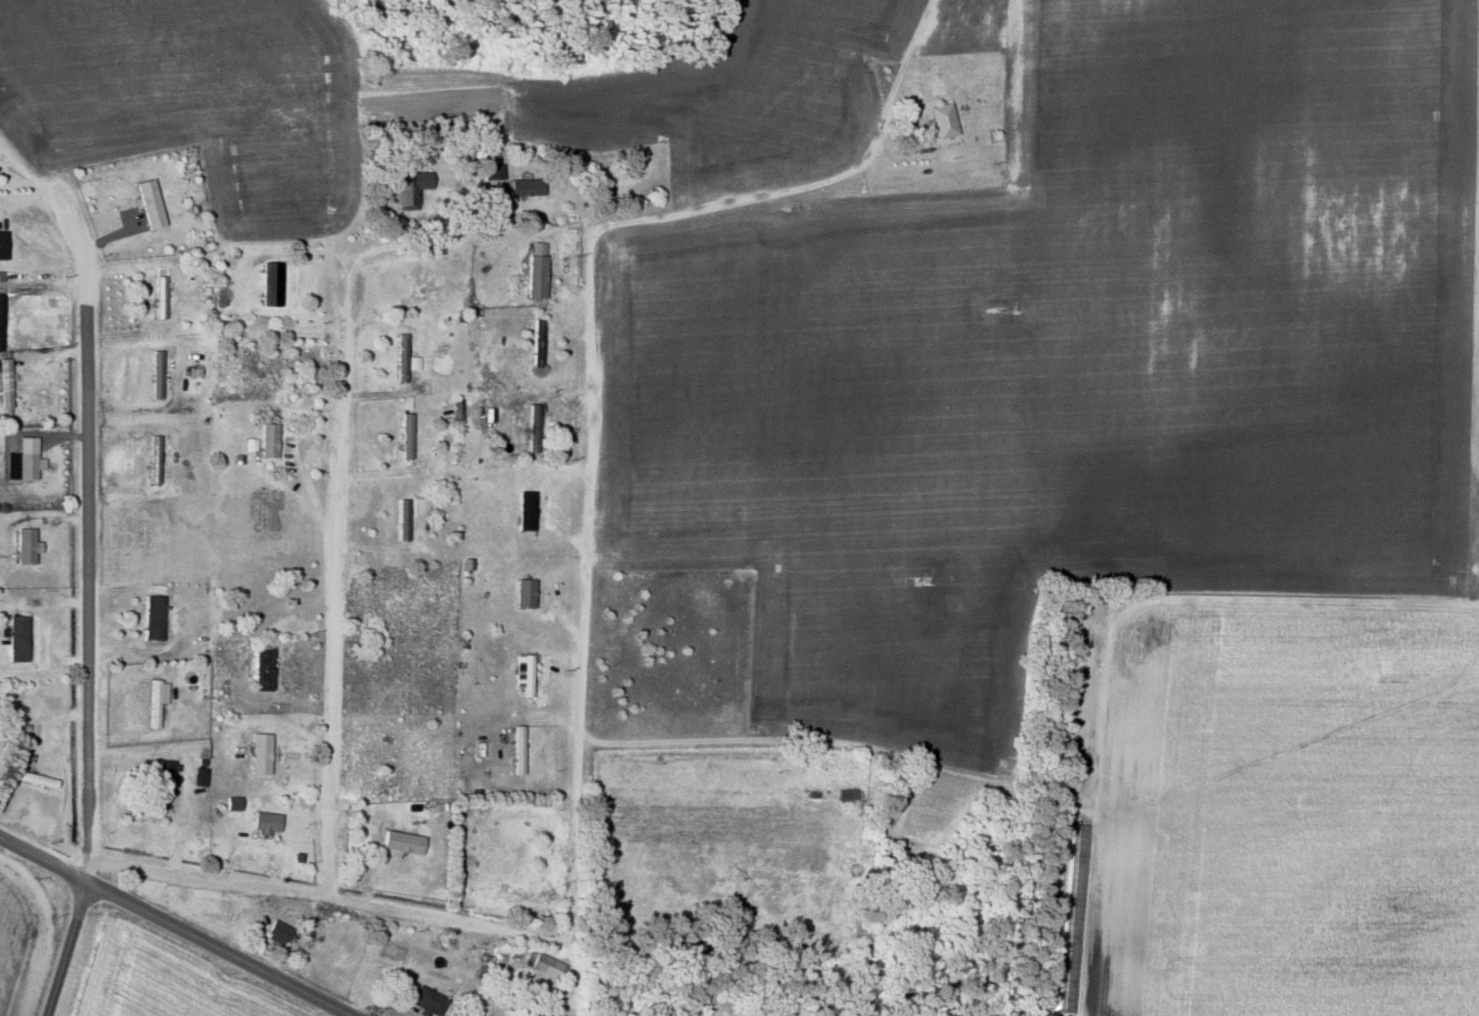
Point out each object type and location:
road: (898, 88)
building: (942, 119)
building: (492, 170)
building: (525, 186)
building: (410, 187)
building: (148, 202)
building: (2, 244)
building: (537, 247)
building: (535, 275)
building: (270, 283)
building: (158, 296)
building: (0, 336)
building: (536, 340)
building: (401, 357)
building: (441, 364)
building: (155, 373)
building: (4, 383)
building: (456, 409)
building: (405, 435)
building: (267, 439)
building: (249, 443)
road: (587, 449)
building: (21, 459)
building: (421, 505)
building: (525, 510)
building: (402, 519)
road: (88, 521)
building: (23, 545)
road: (334, 572)
building: (523, 593)
building: (151, 617)
building: (16, 637)
building: (261, 668)
building: (523, 673)
building: (155, 699)
building: (516, 749)
building: (259, 753)
building: (198, 776)
building: (164, 777)
building: (34, 779)
building: (846, 794)
building: (232, 802)
building: (264, 822)
building: (401, 842)
building: (1074, 852)
road: (318, 892)
road: (173, 927)
building: (276, 932)
road: (64, 949)
building: (546, 965)
building: (427, 1001)
building: (543, 1014)
building: (558, 1015)

